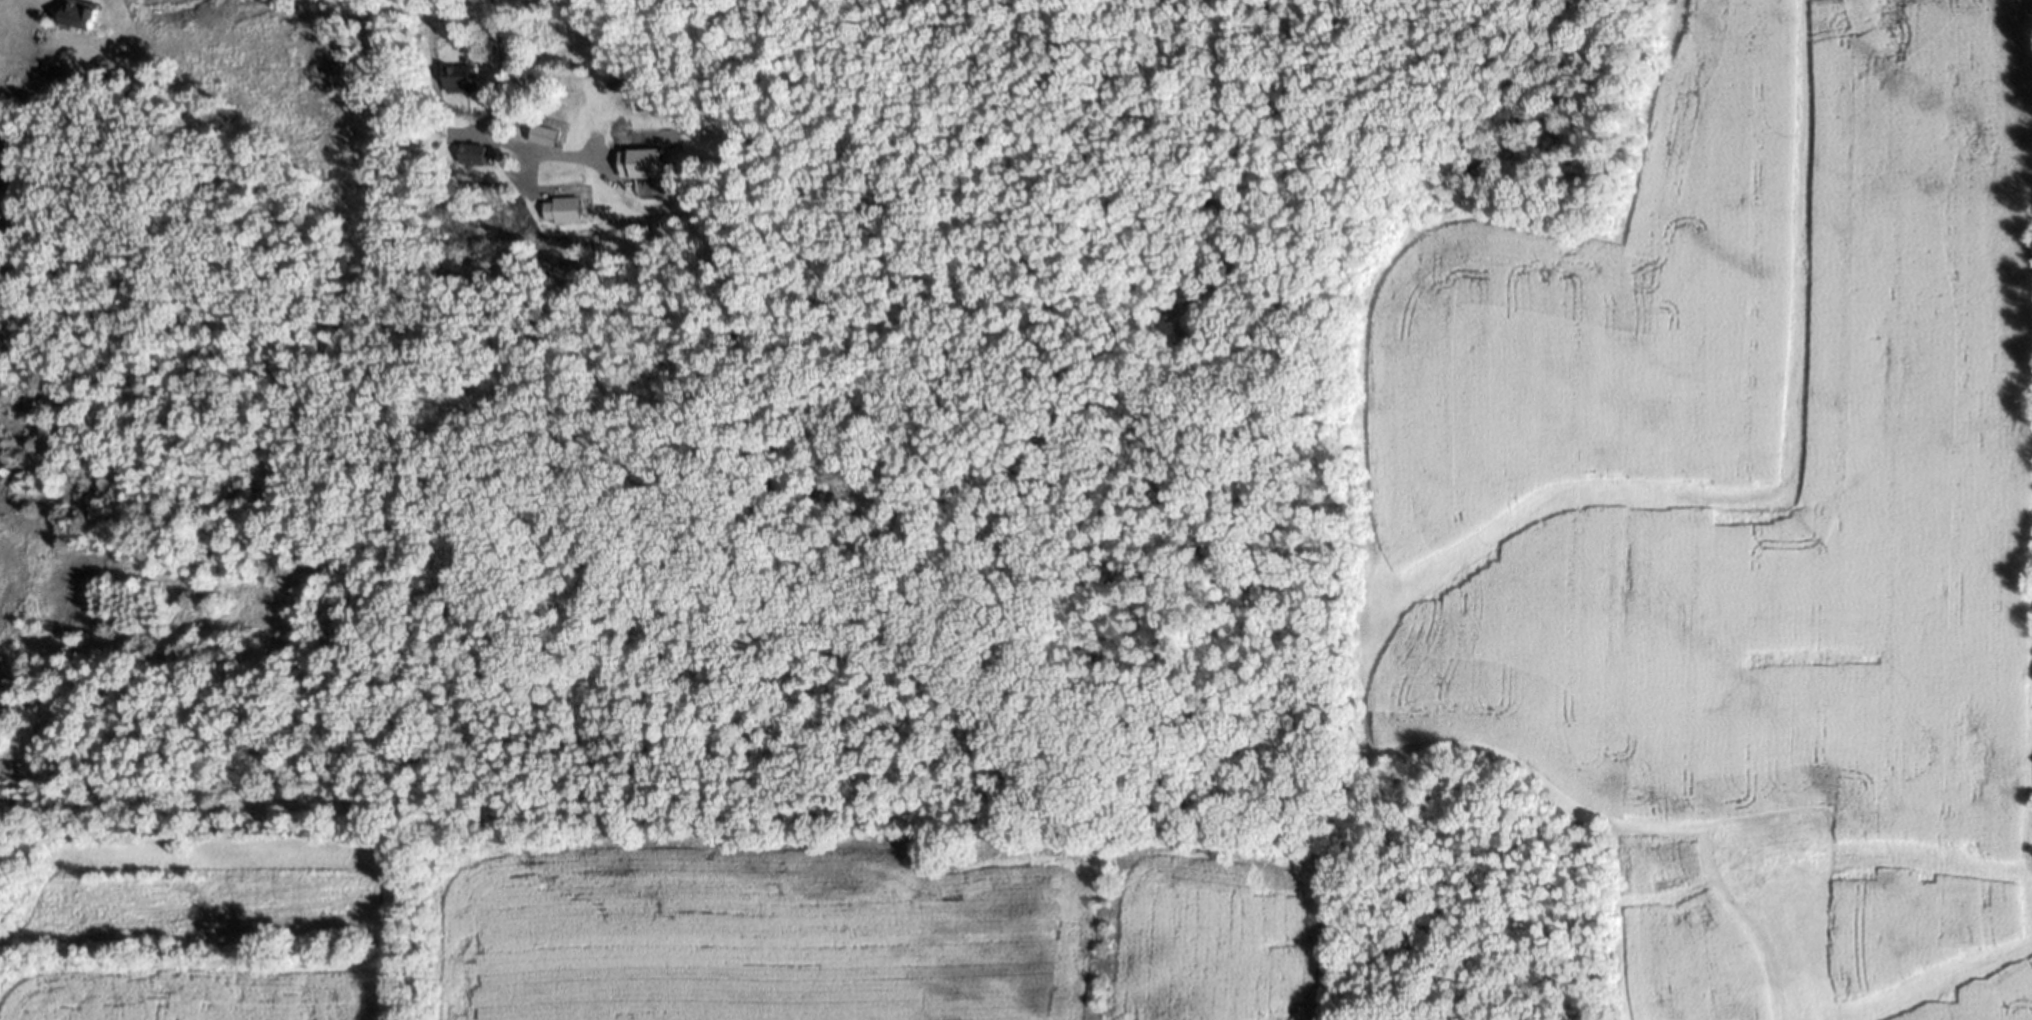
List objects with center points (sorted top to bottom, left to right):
building: (179, 0)
building: (87, 19)
building: (464, 83)
road: (491, 107)
building: (549, 140)
building: (473, 158)
building: (564, 215)

